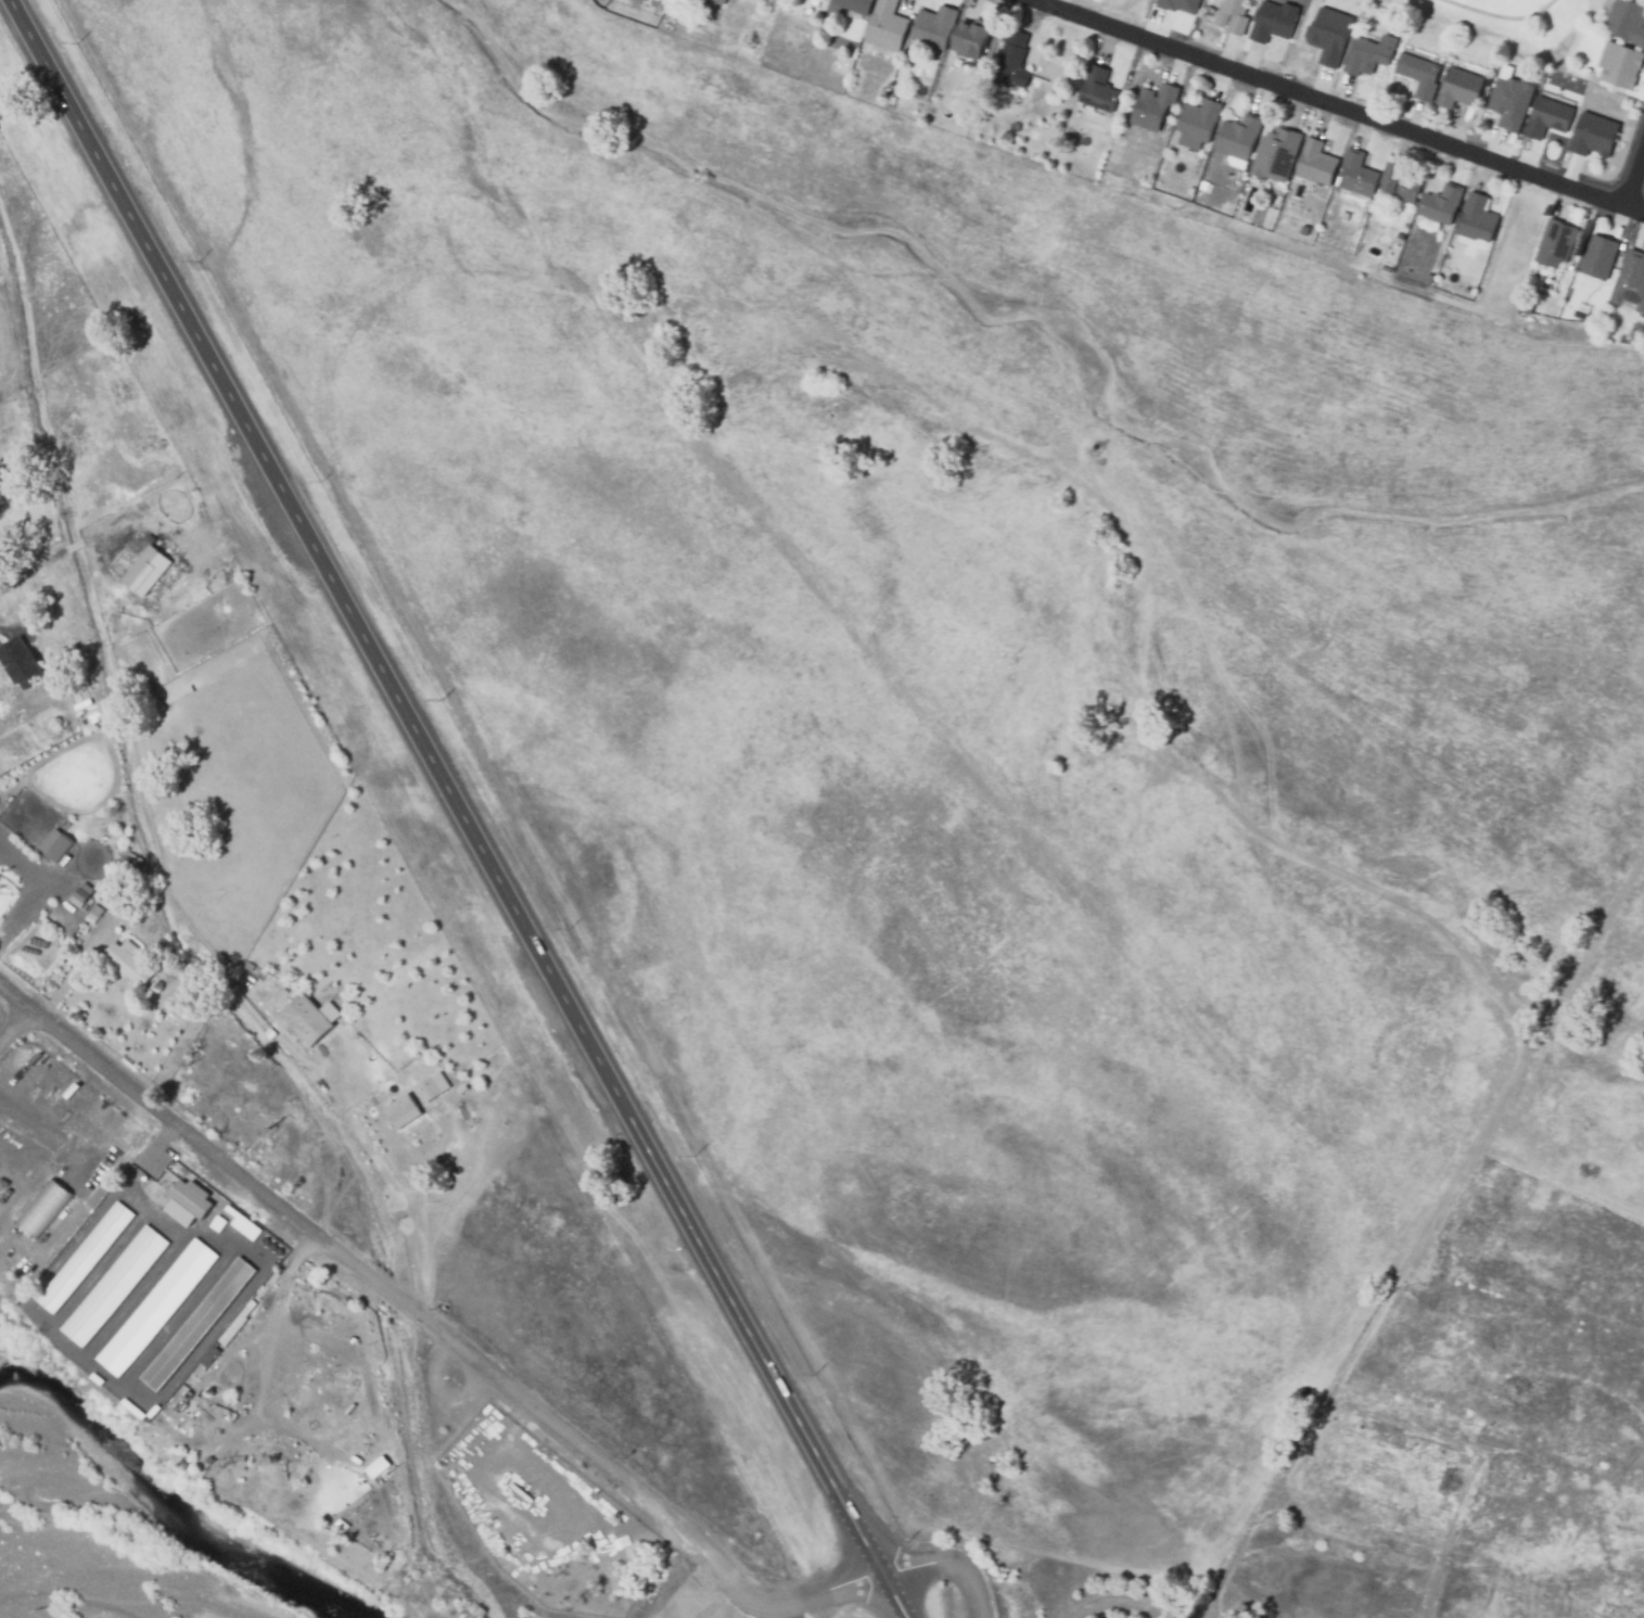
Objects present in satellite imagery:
building: (718, 1)
building: (853, 5)
building: (1178, 5)
park: (1504, 5)
building: (1231, 15)
building: (1273, 22)
building: (1627, 22)
building: (884, 26)
building: (933, 27)
building: (1329, 35)
building: (974, 41)
building: (1368, 55)
building: (1012, 61)
building: (1619, 65)
building: (1418, 75)
building: (1457, 89)
building: (1096, 90)
building: (1509, 102)
road: (1342, 104)
building: (1152, 107)
building: (1546, 118)
building: (1196, 124)
building: (1592, 136)
building: (1237, 138)
building: (1275, 155)
building: (1315, 164)
road: (1635, 168)
building: (1356, 175)
building: (1401, 183)
building: (1440, 204)
building: (1476, 218)
building: (1557, 243)
building: (1598, 258)
building: (1631, 281)
building: (1524, 307)
building: (161, 561)
building: (145, 570)
building: (9, 604)
building: (23, 675)
building: (16, 778)
road: (460, 810)
building: (55, 844)
building: (82, 891)
building: (93, 914)
building: (129, 965)
building: (27, 972)
building: (305, 1020)
building: (225, 1068)
building: (282, 1085)
building: (426, 1091)
building: (400, 1112)
road: (394, 1185)
building: (190, 1202)
building: (42, 1206)
building: (84, 1256)
building: (112, 1284)
building: (154, 1305)
building: (196, 1322)
building: (234, 1322)
road: (441, 1334)
road: (1351, 1351)
building: (348, 1389)
building: (1452, 1430)
building: (377, 1466)
building: (1368, 1531)
road: (947, 1574)
road: (1122, 1601)
road: (3, 1614)

